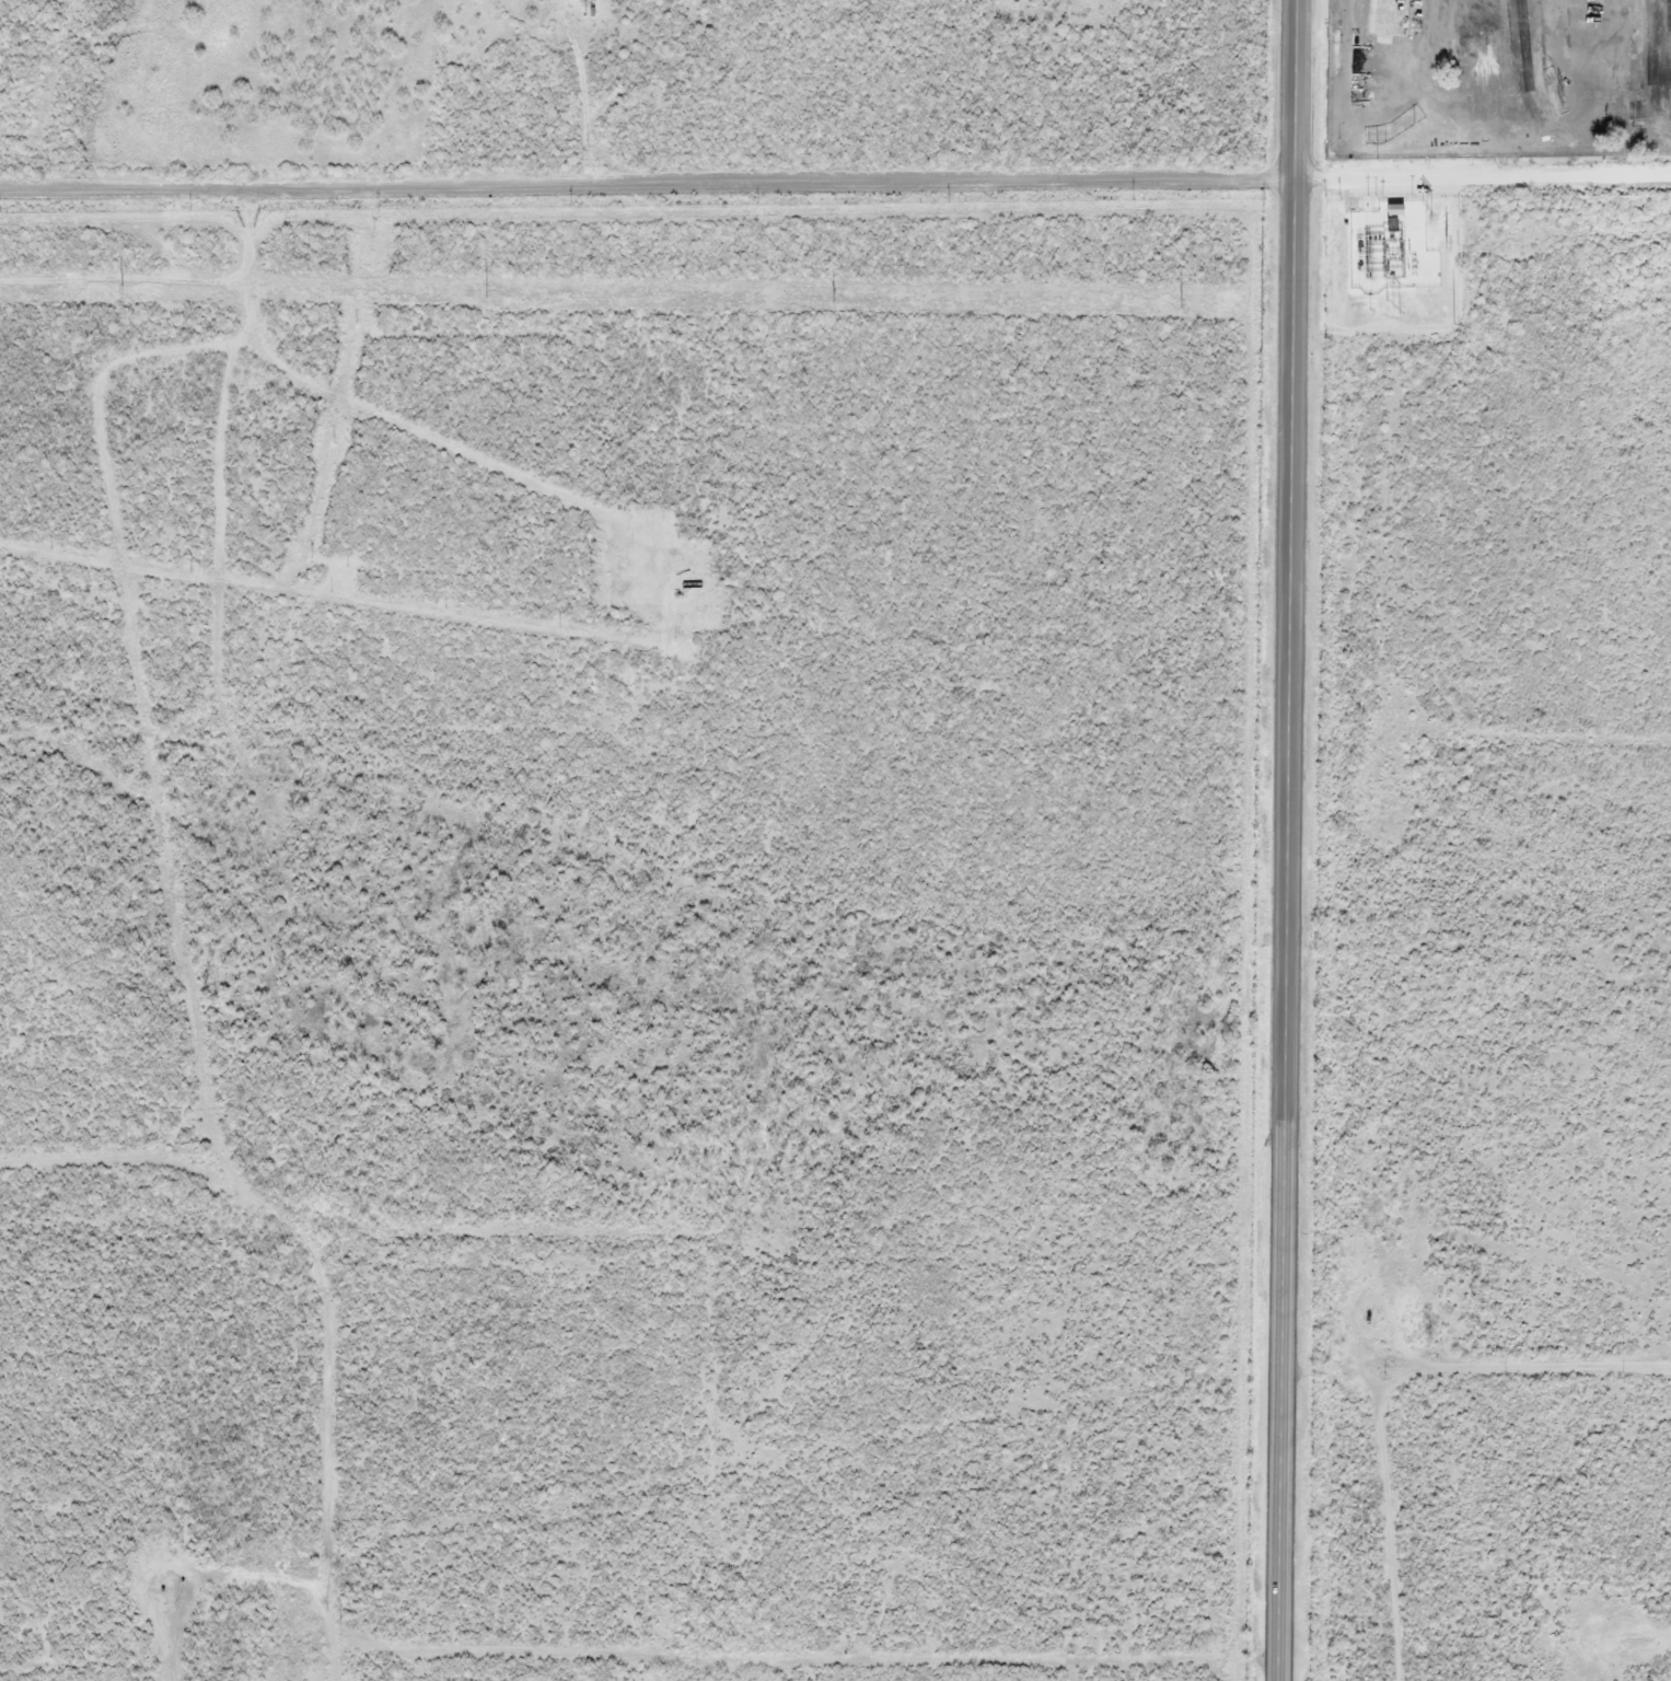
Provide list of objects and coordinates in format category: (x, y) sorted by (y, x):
power tower: (1560, 103)
road: (1482, 176)
road: (646, 184)
power tower: (1426, 208)
power tower: (1446, 245)
power substation: (1391, 247)
power tower: (123, 289)
power tower: (488, 291)
power tower: (839, 293)
power tower: (1180, 301)
power tower: (1392, 305)
road: (1286, 840)

